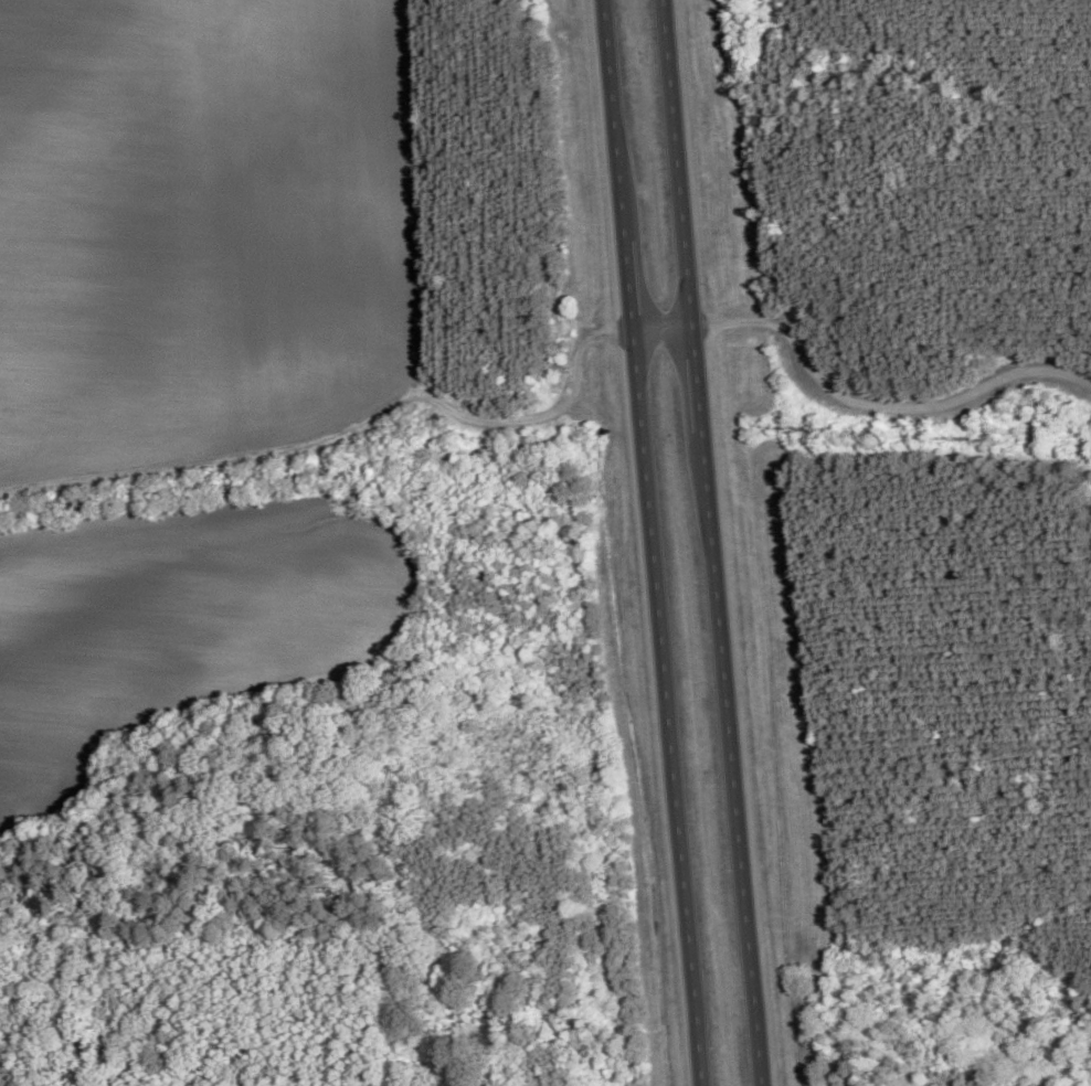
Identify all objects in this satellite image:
road: (614, 121)
road: (678, 162)
road: (629, 287)
road: (664, 328)
road: (698, 379)
road: (666, 707)
road: (731, 758)

